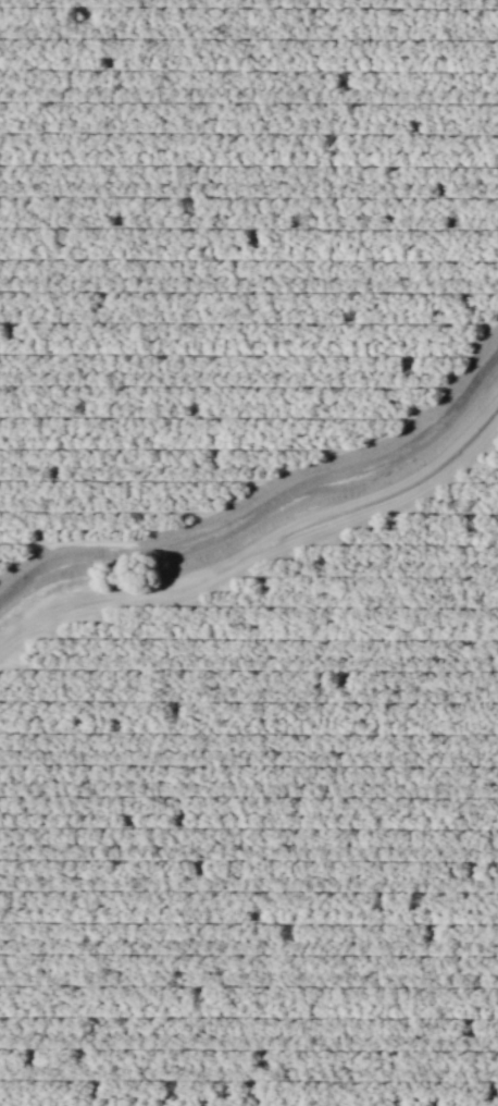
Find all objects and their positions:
road: (264, 490)
road: (260, 543)

